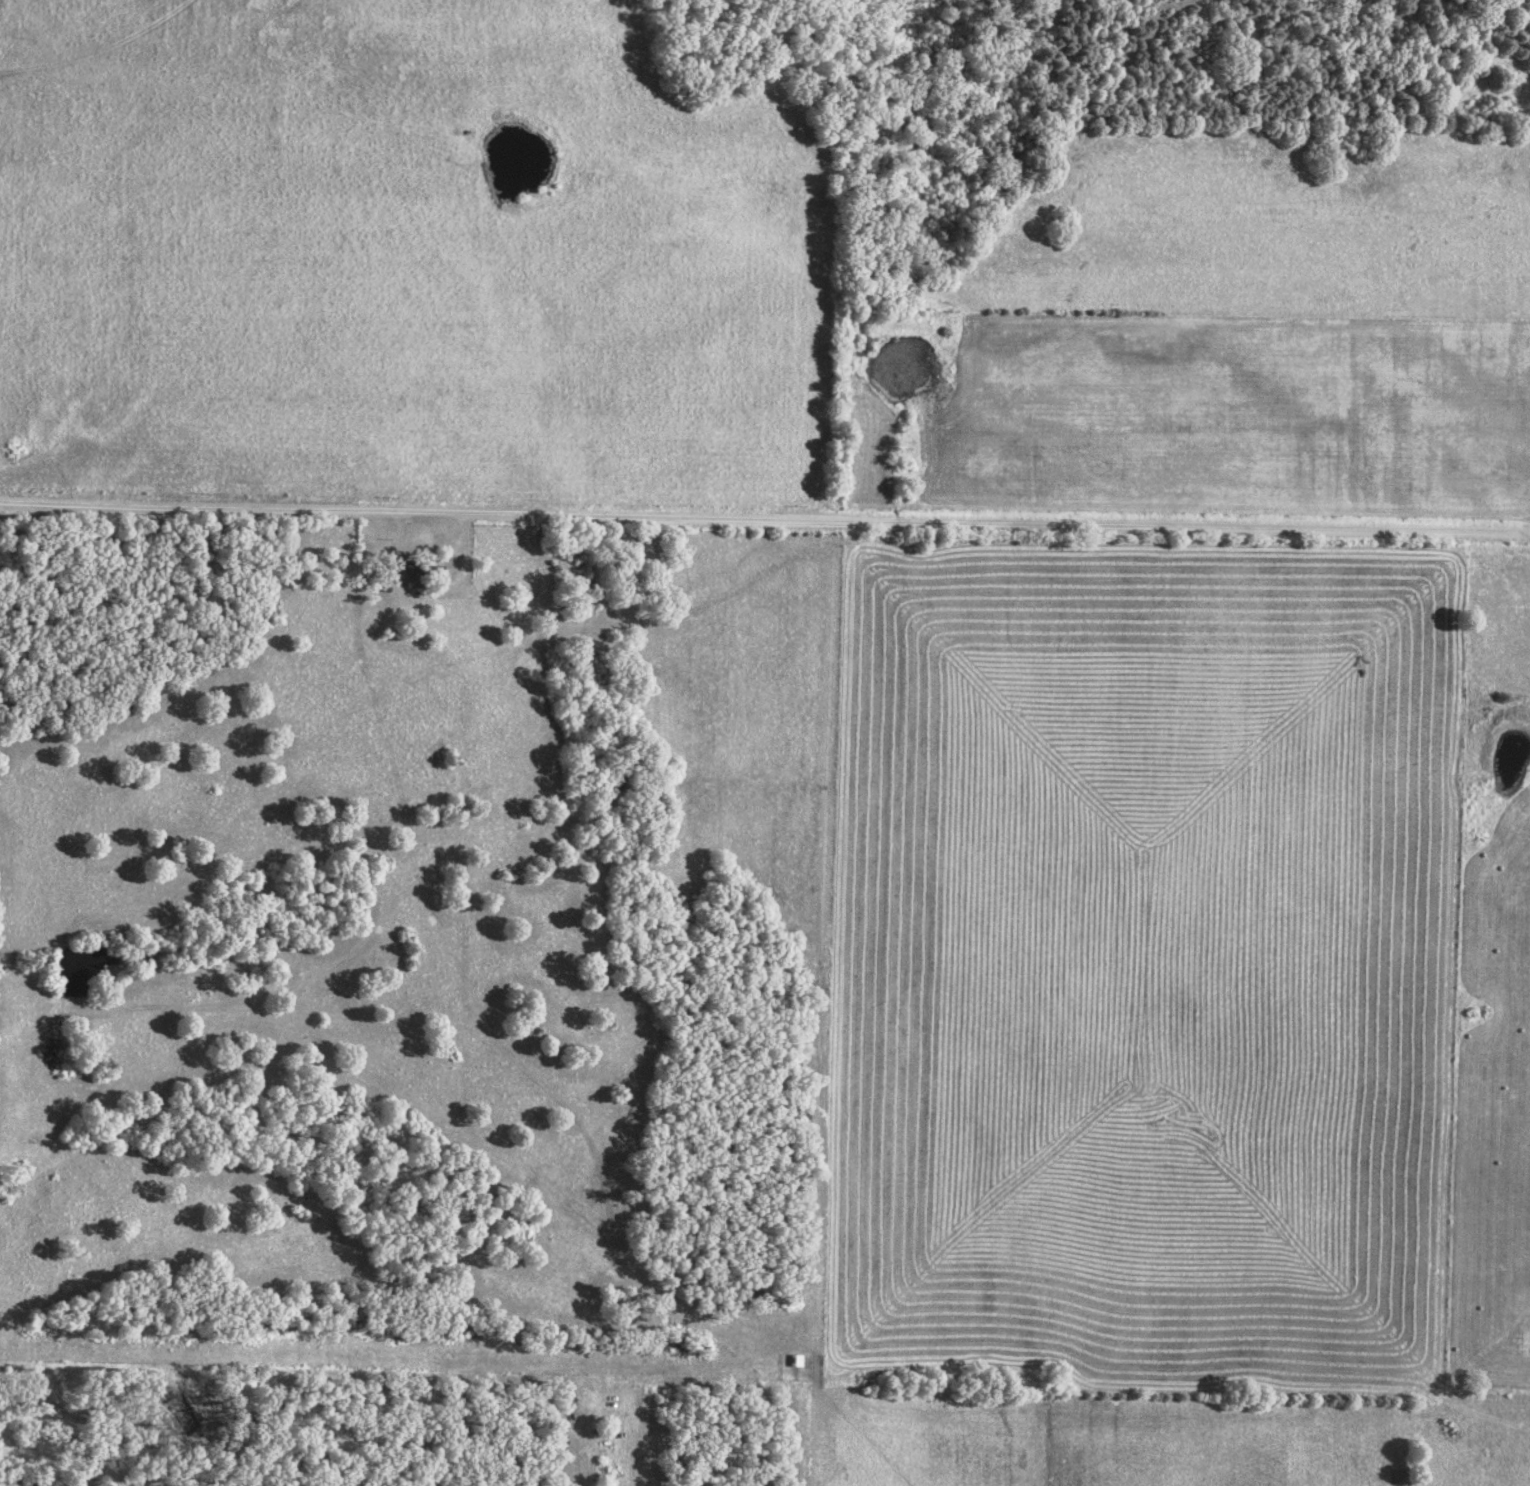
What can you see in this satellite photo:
road: (764, 519)
building: (423, 574)
road: (119, 1368)
building: (241, 1395)

